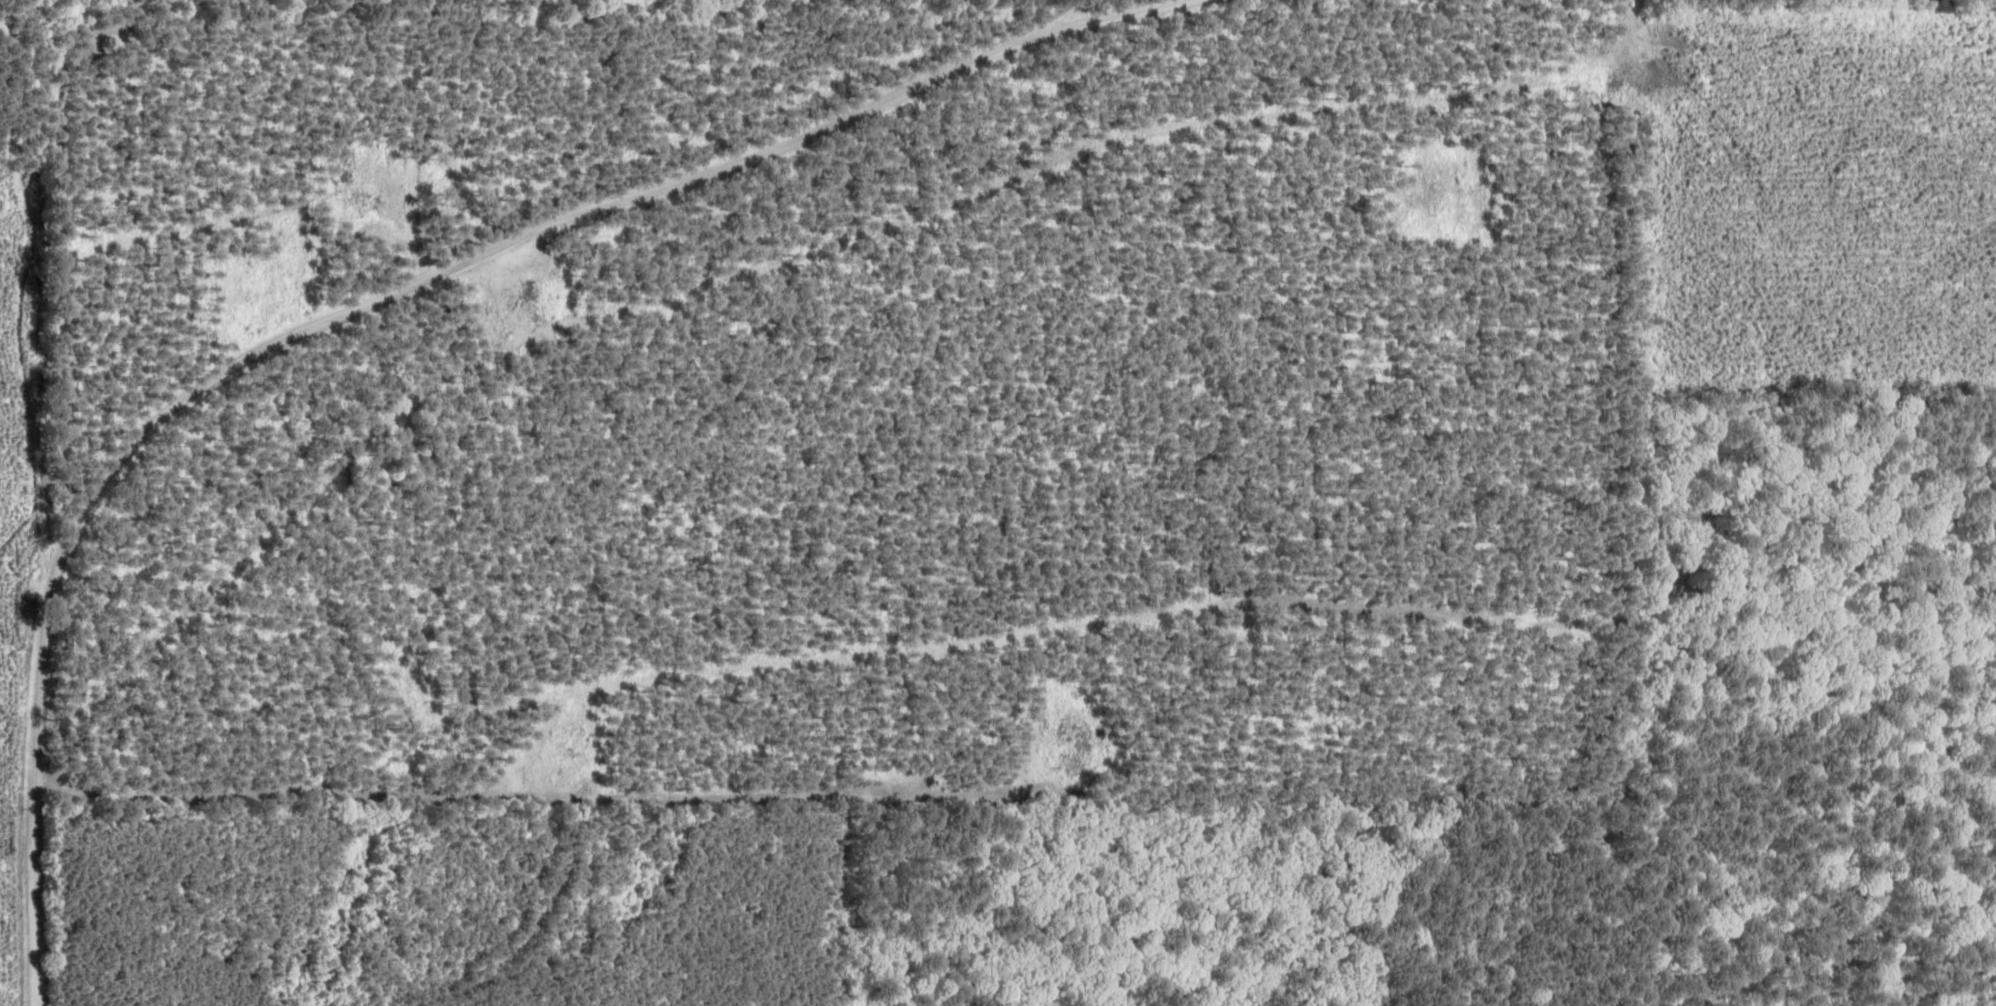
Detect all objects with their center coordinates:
road: (1529, 90)
road: (1733, 223)
road: (431, 318)

